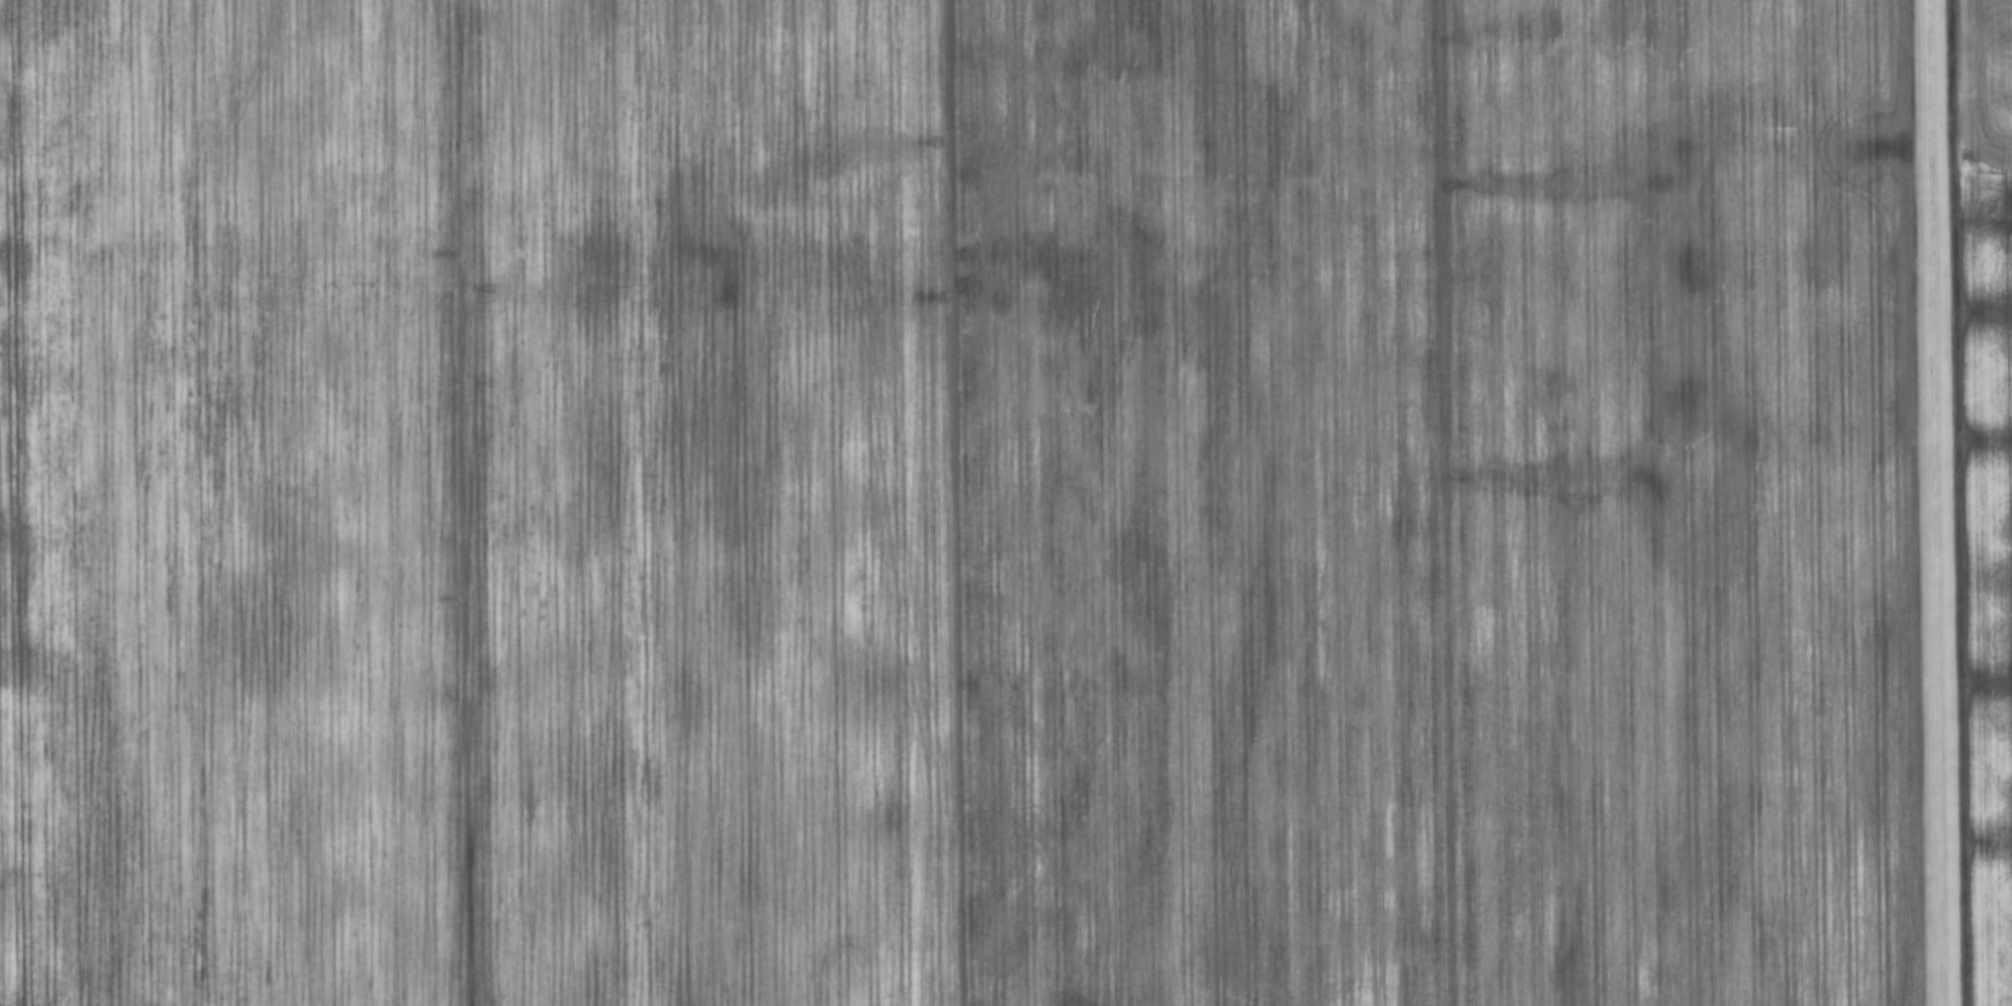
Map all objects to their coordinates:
road: (1937, 503)

